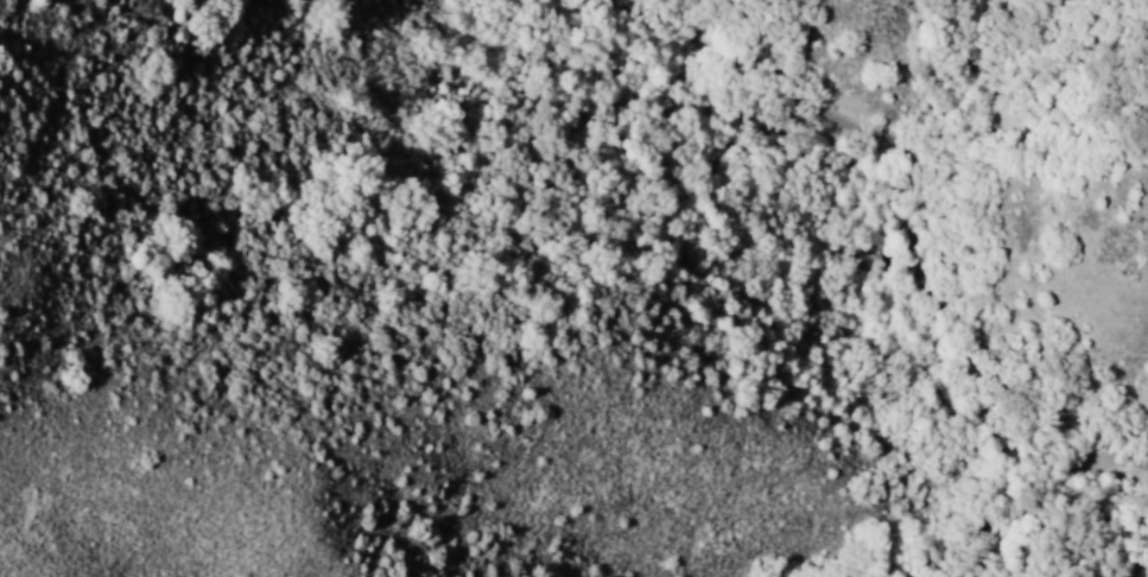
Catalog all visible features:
road: (902, 234)
road: (939, 488)

